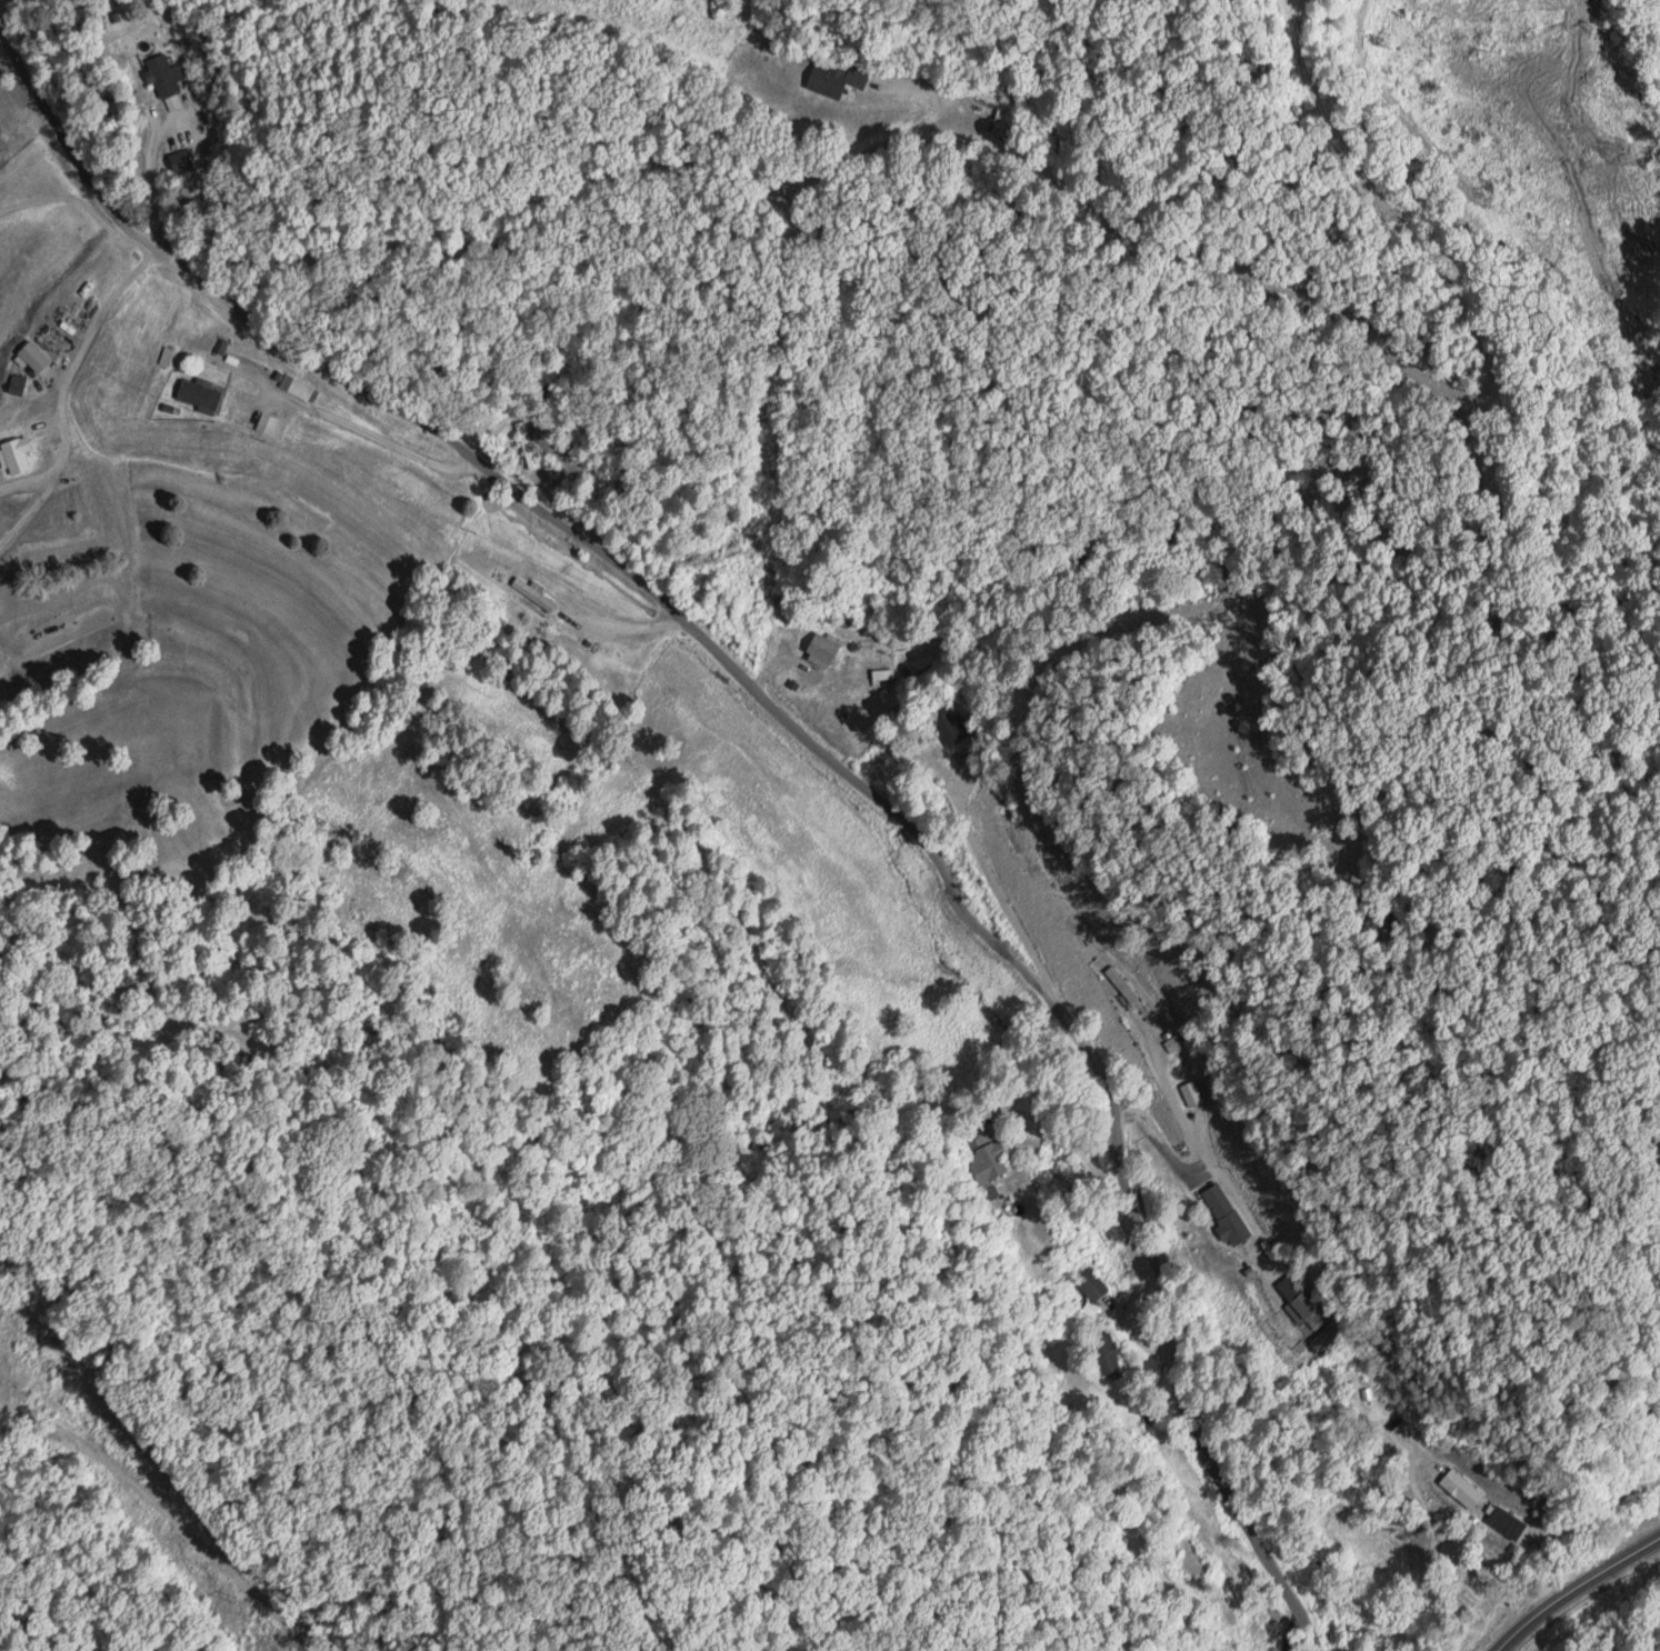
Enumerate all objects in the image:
building: (162, 74)
building: (832, 78)
building: (178, 160)
road: (594, 174)
building: (298, 389)
building: (11, 392)
building: (196, 396)
building: (270, 426)
building: (526, 444)
building: (14, 454)
building: (537, 599)
building: (820, 647)
building: (882, 677)
building: (949, 727)
road: (798, 732)
road: (998, 882)
building: (1118, 983)
building: (987, 1162)
building: (1222, 1214)
building: (1089, 1287)
building: (1294, 1300)
building: (1104, 1355)
building: (1458, 1489)
building: (1500, 1523)
road: (1434, 1528)
road: (1572, 1587)

